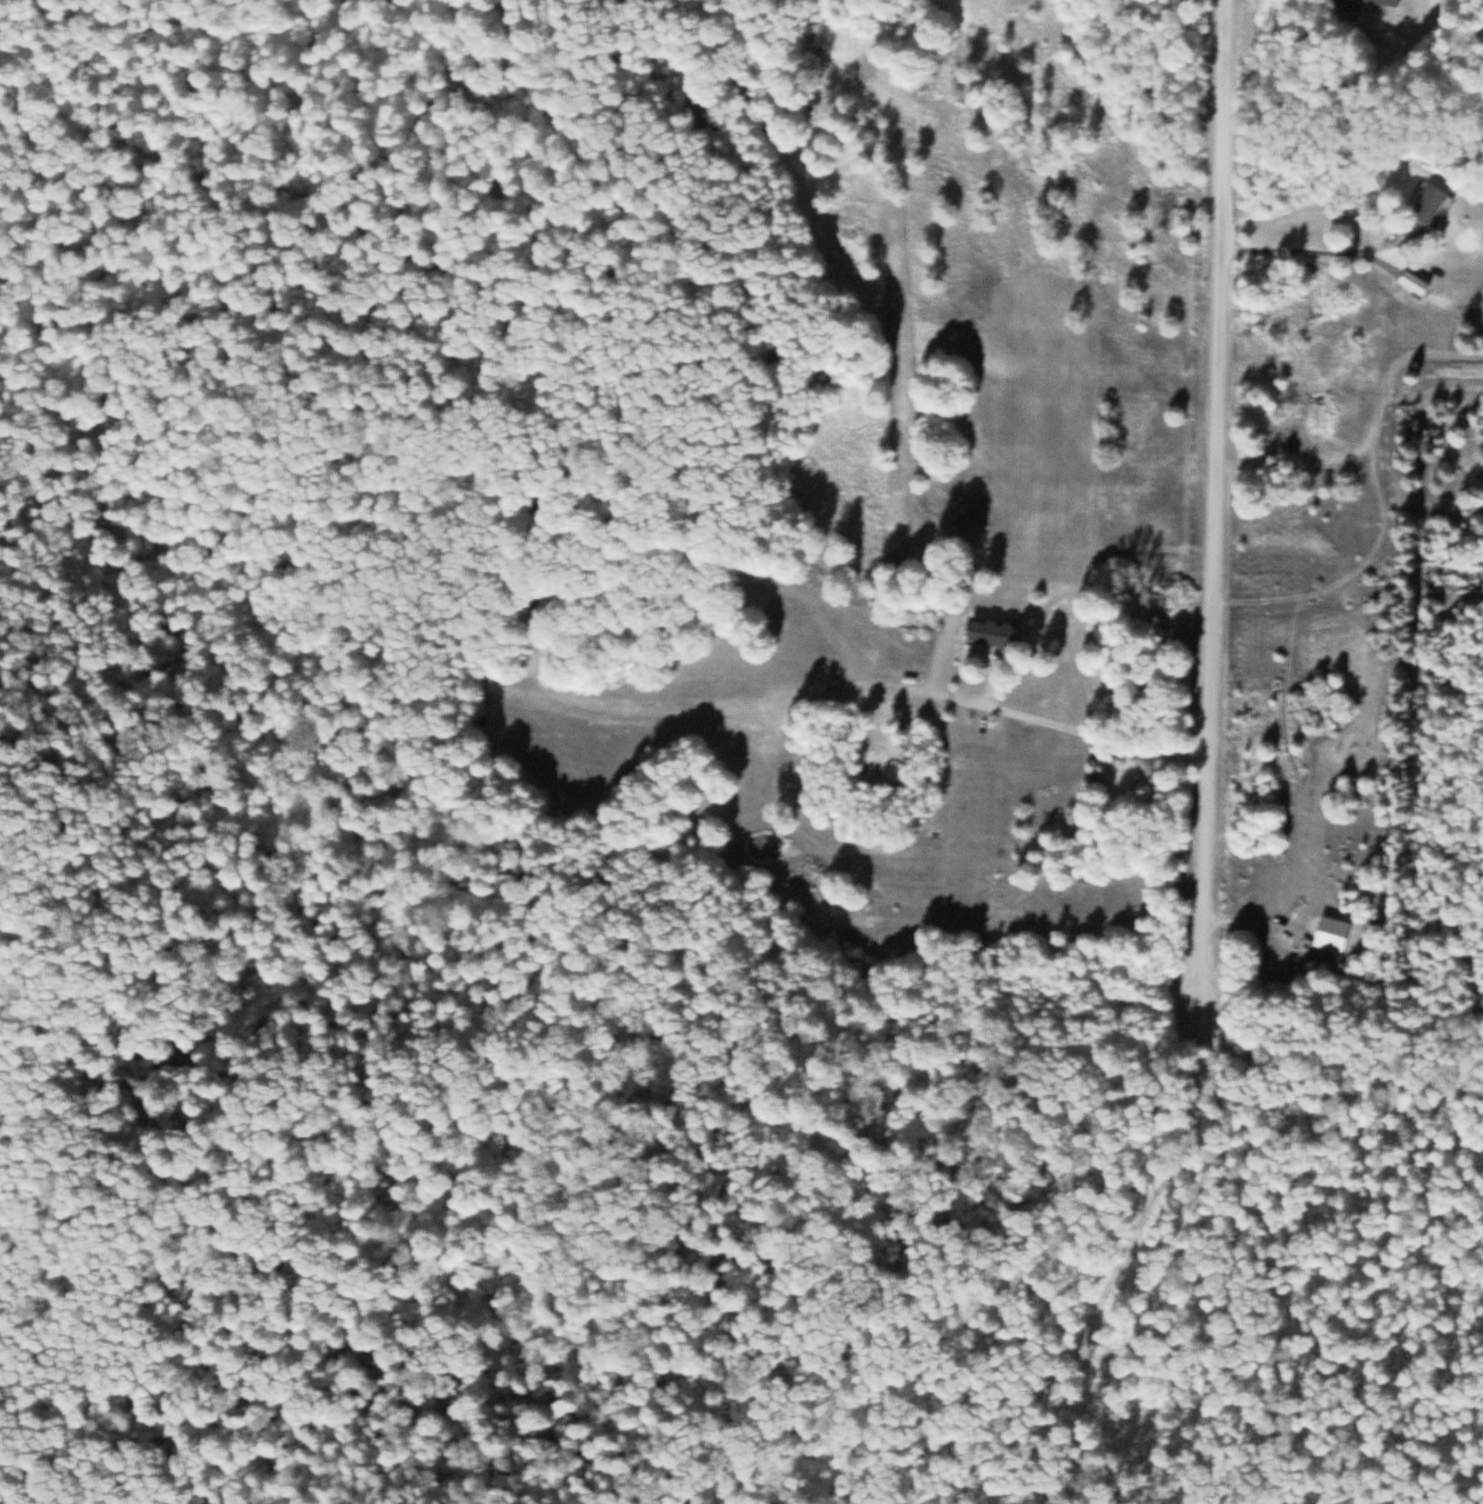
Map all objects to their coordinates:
building: (1383, 2)
road: (1168, 83)
building: (1437, 204)
road: (1325, 251)
road: (1215, 503)
building: (1000, 630)
road: (992, 682)
road: (1030, 715)
road: (1116, 1272)
road: (1283, 1333)

